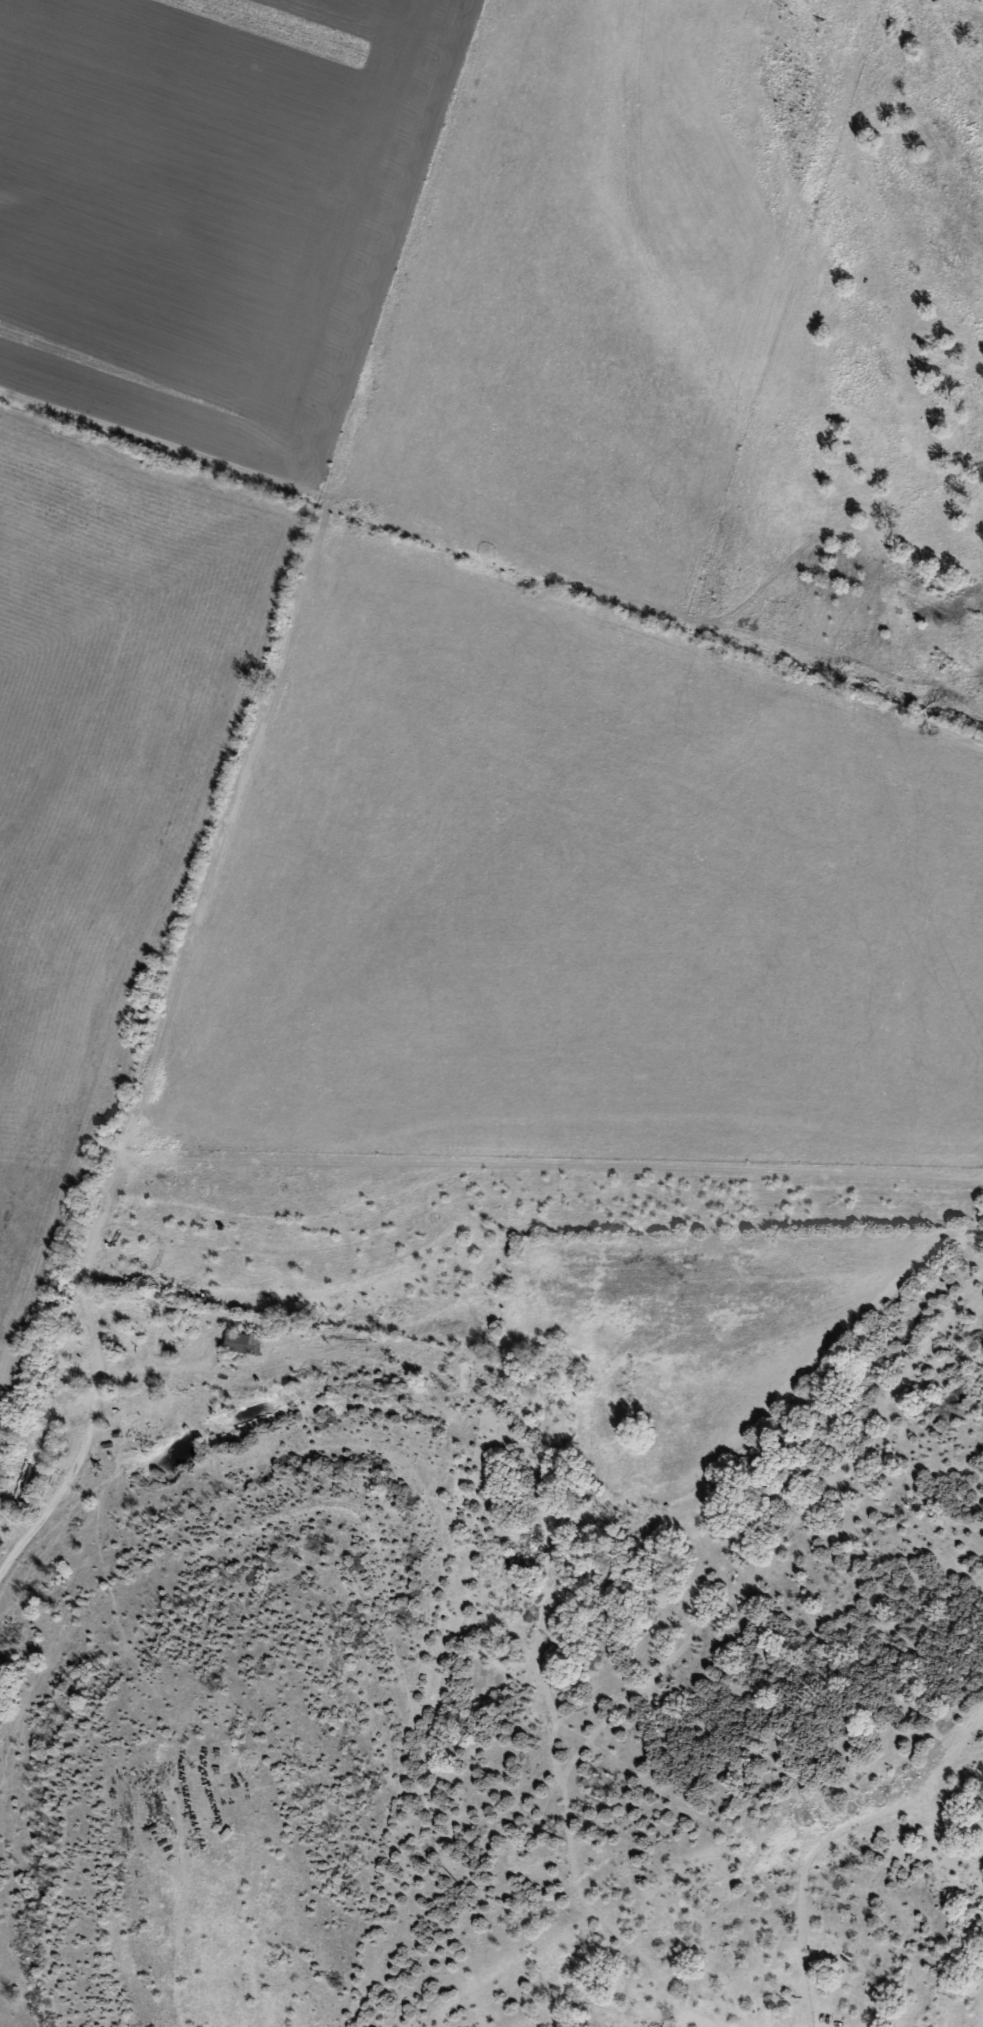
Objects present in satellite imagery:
building: (247, 1343)
power tower: (779, 1528)
power tower: (465, 1895)

